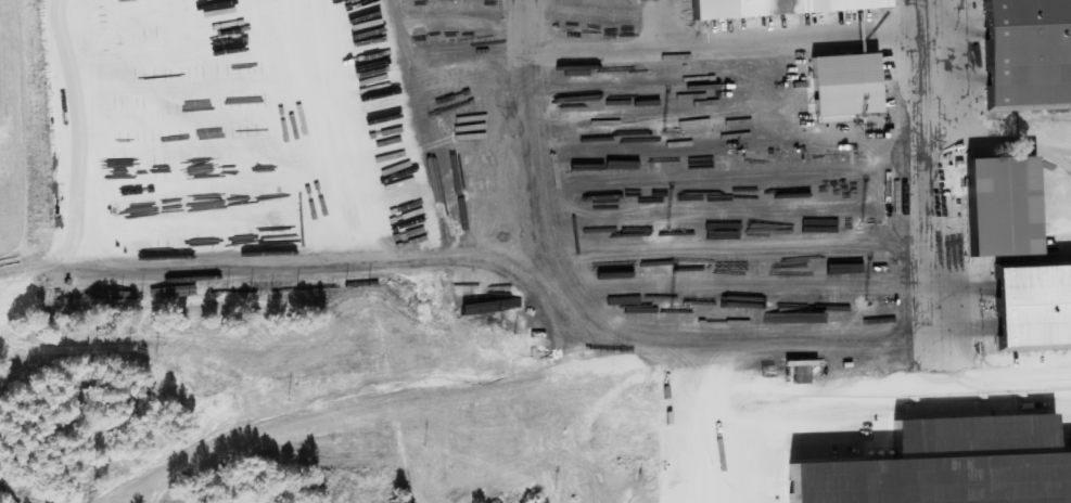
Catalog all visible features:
building: (782, 7)
building: (850, 86)
building: (1009, 206)

